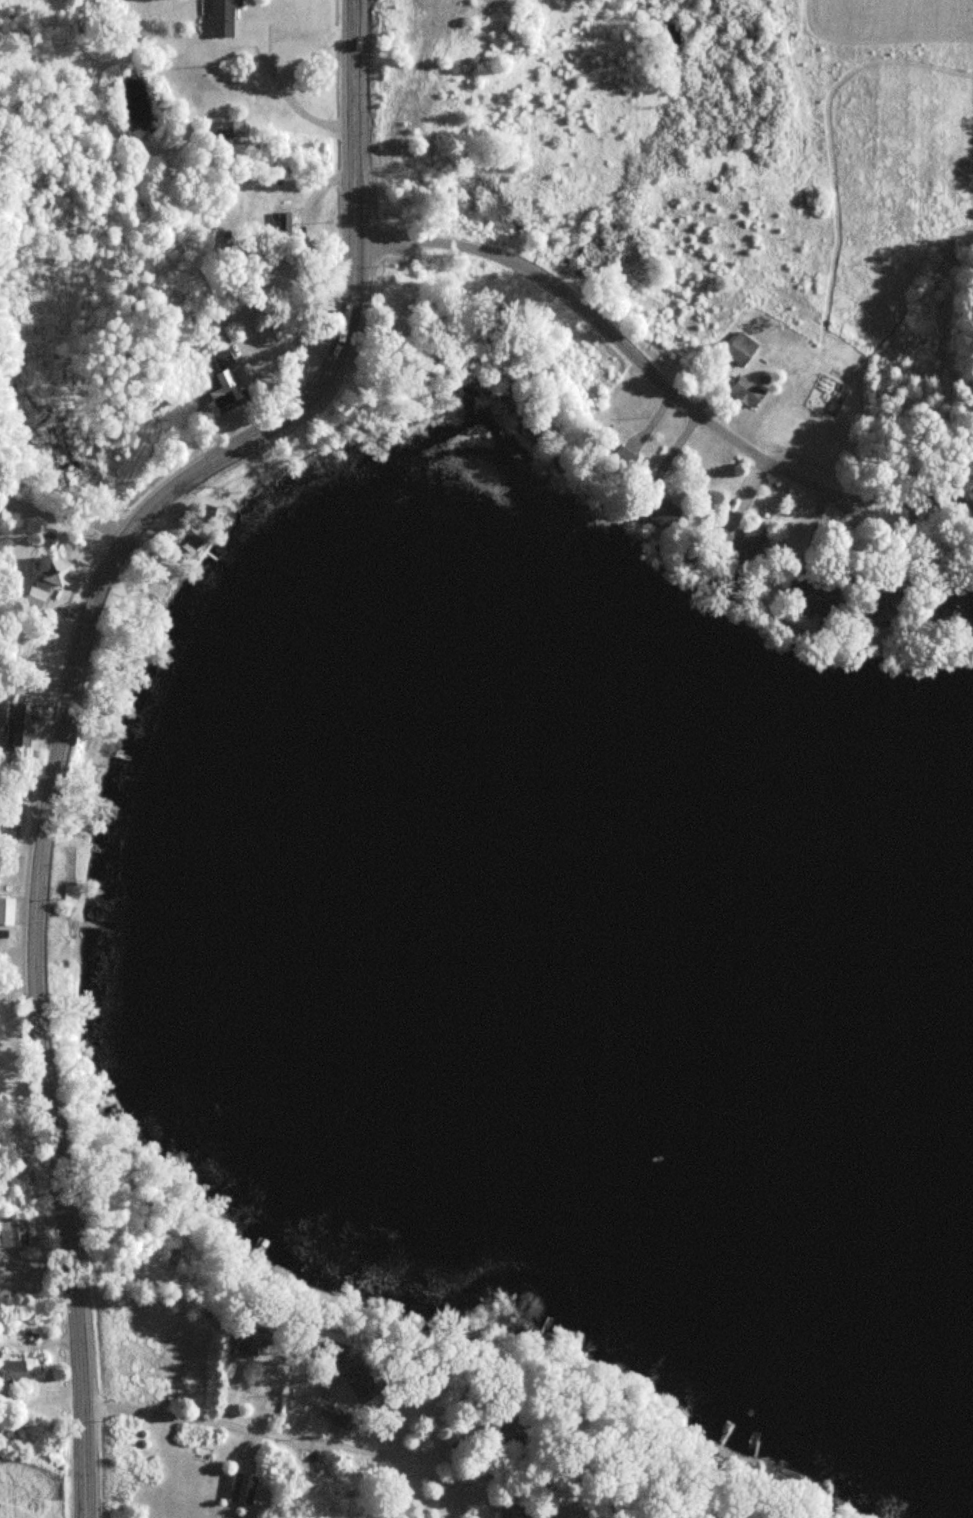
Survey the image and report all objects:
building: (222, 18)
building: (739, 349)
road: (662, 379)
building: (226, 382)
building: (746, 392)
building: (192, 545)
building: (54, 573)
building: (885, 605)
building: (958, 617)
road: (70, 702)
building: (24, 728)
building: (72, 895)
building: (13, 1232)
building: (256, 1333)
building: (12, 1366)
building: (336, 1416)
road: (269, 1432)
building: (243, 1488)
building: (510, 1512)
building: (716, 1517)

